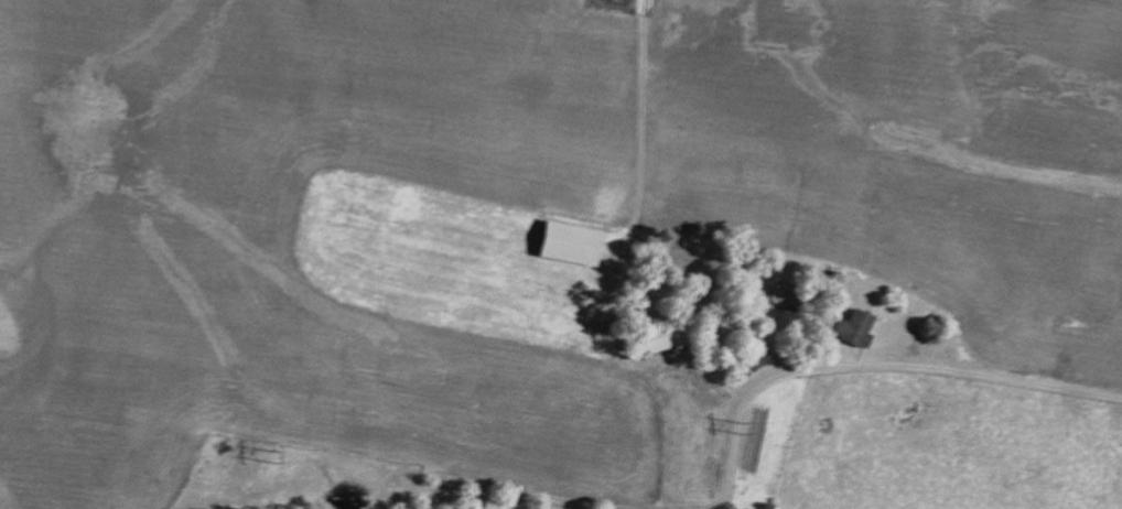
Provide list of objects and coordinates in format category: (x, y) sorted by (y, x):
building: (563, 242)
building: (850, 327)
road: (700, 362)
road: (872, 364)
power tower: (745, 429)
power tower: (279, 459)

